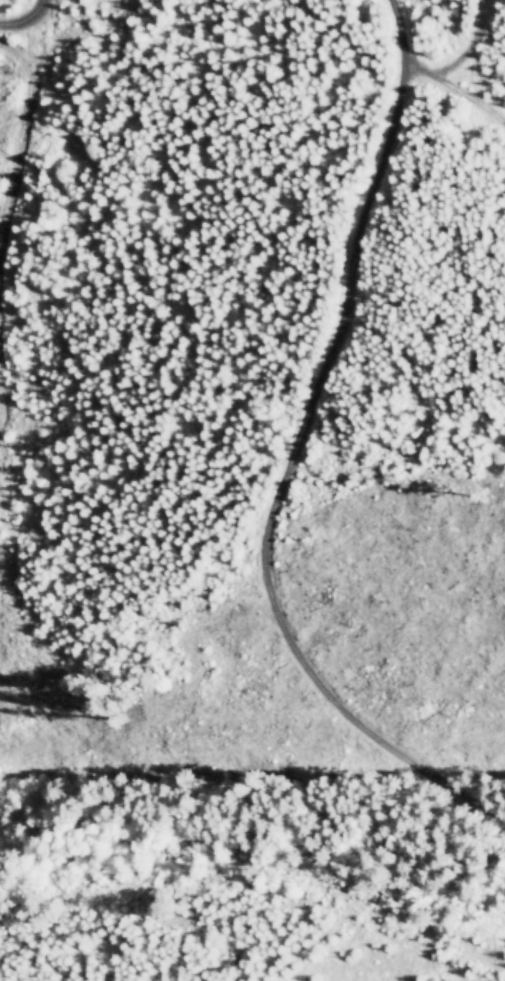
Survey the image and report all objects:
road: (15, 7)
road: (460, 64)
road: (483, 103)
road: (285, 446)

